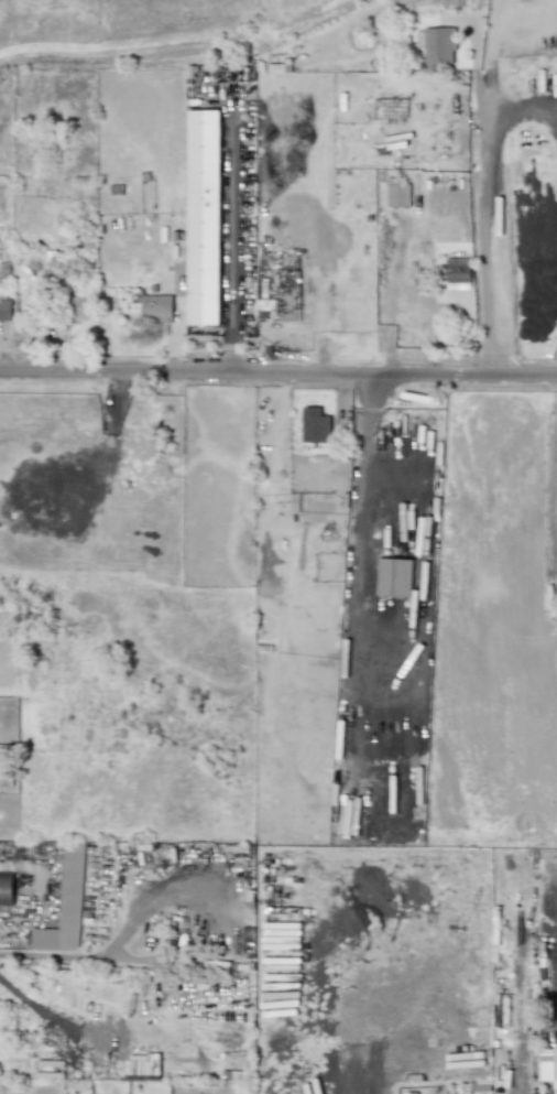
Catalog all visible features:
building: (437, 44)
road: (524, 102)
road: (490, 187)
building: (396, 193)
building: (204, 215)
road: (233, 250)
building: (457, 269)
building: (78, 306)
building: (155, 307)
building: (4, 310)
road: (277, 372)
building: (314, 424)
road: (368, 449)
building: (6, 888)
building: (65, 903)
road: (79, 954)
building: (547, 1063)

